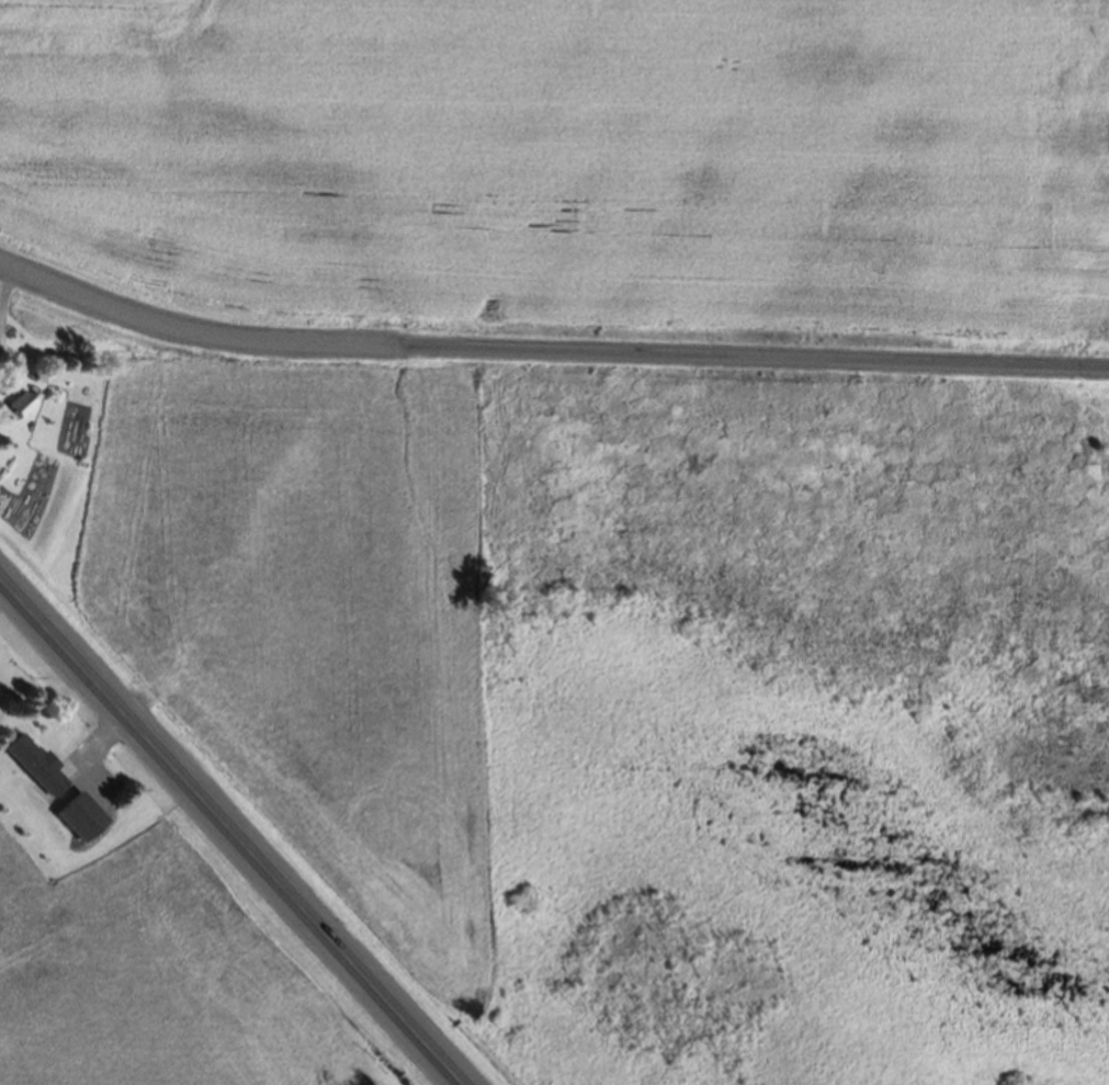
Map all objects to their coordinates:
road: (545, 351)
building: (21, 409)
building: (38, 773)
building: (86, 824)
road: (241, 826)

